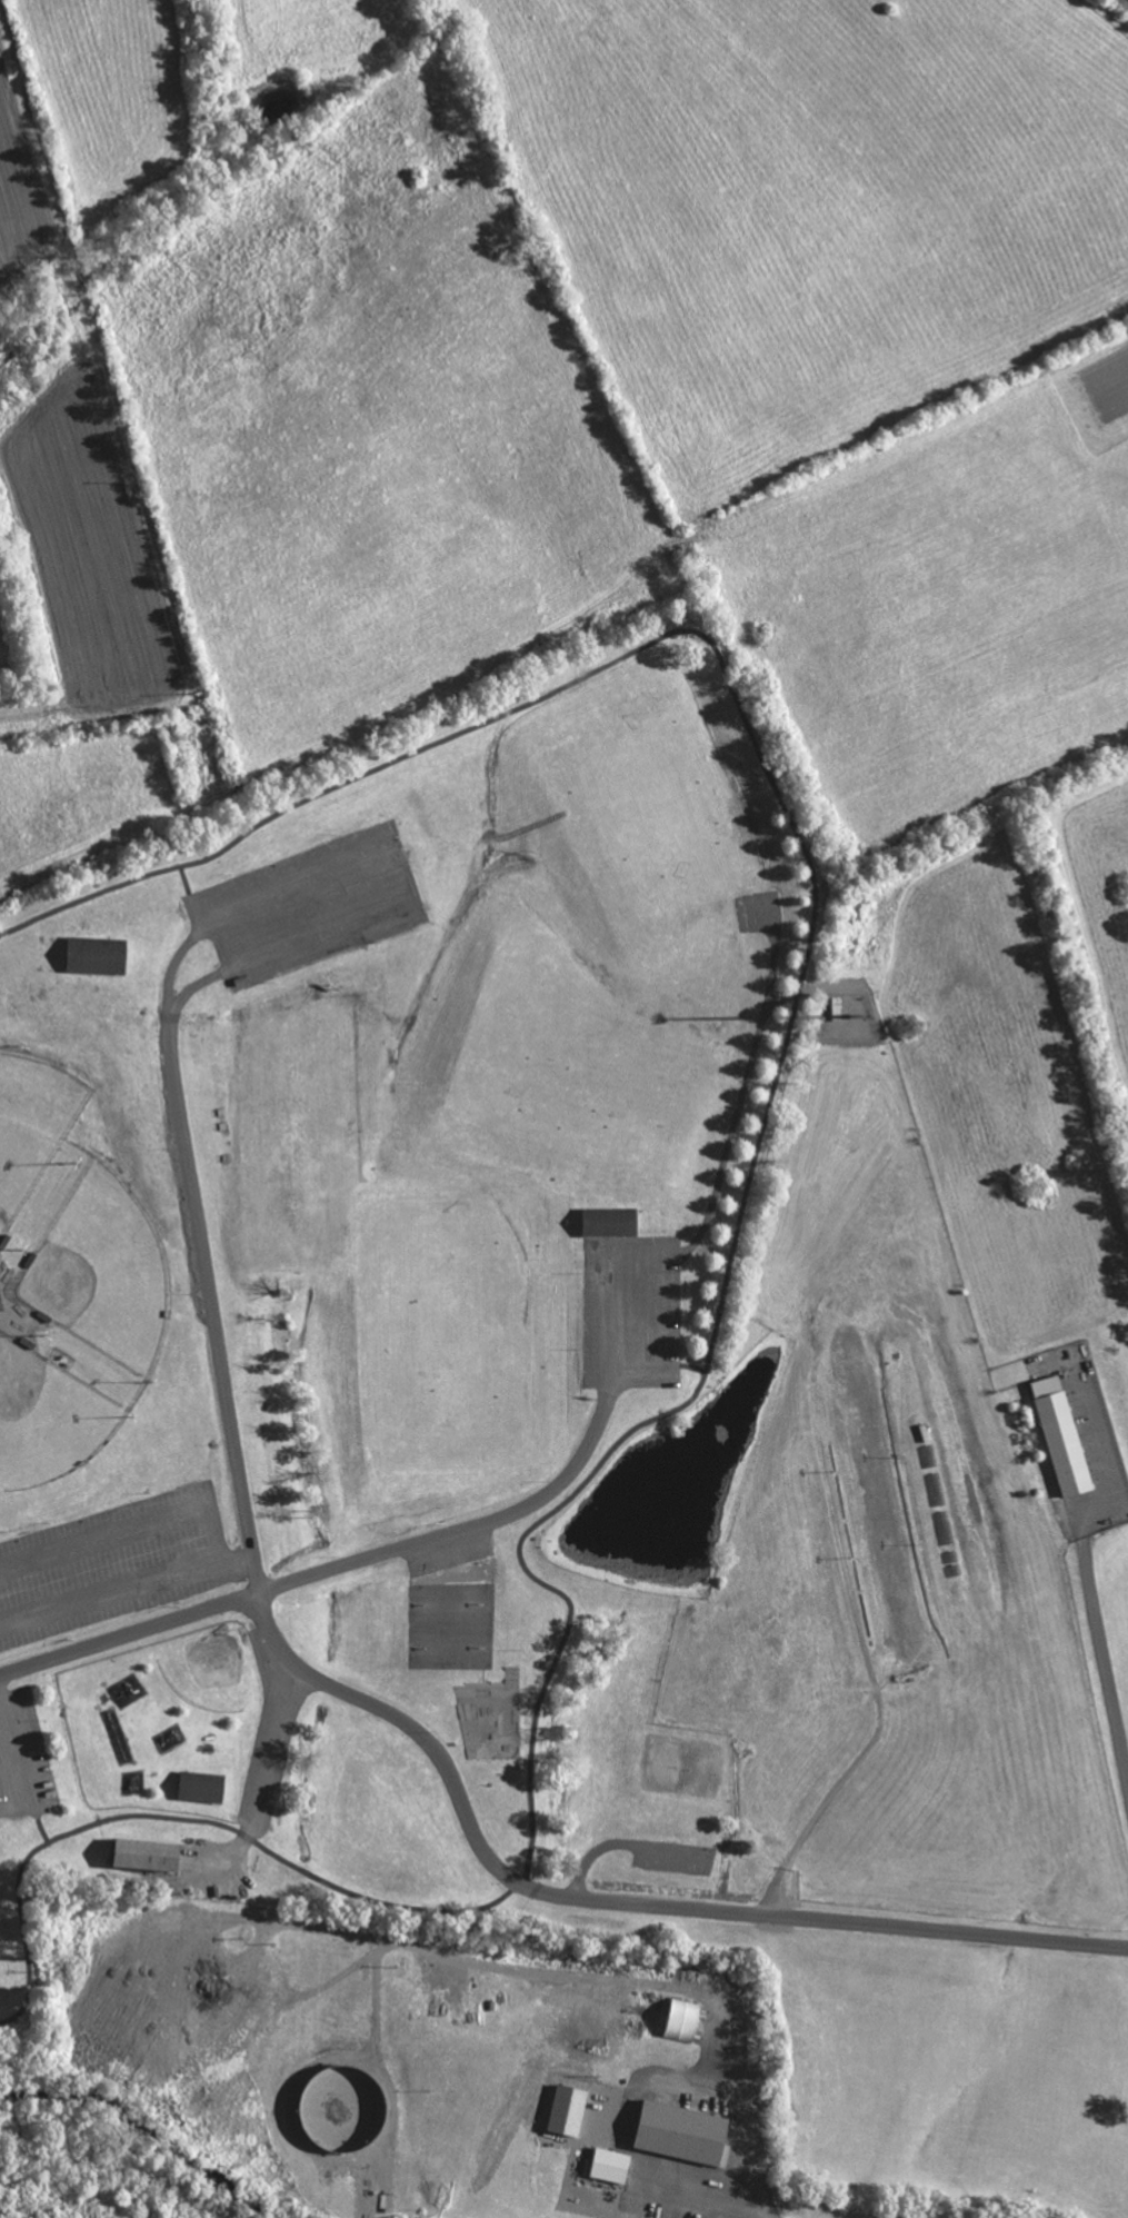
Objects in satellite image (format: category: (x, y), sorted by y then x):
road: (190, 895)
parking lot: (308, 904)
building: (96, 954)
road: (726, 1180)
building: (611, 1221)
road: (201, 1254)
road: (727, 1273)
building: (1, 1300)
parking lot: (630, 1311)
park: (596, 1389)
park: (48, 1414)
building: (1060, 1443)
road: (132, 1530)
parking lot: (449, 1553)
road: (337, 1565)
road: (127, 1593)
road: (1101, 1654)
road: (22, 1754)
parking lot: (23, 1759)
road: (263, 1776)
building: (200, 1787)
road: (38, 1821)
building: (143, 1854)
road: (617, 1901)
building: (686, 2021)
building: (672, 2135)
building: (609, 2166)
road: (703, 2186)

